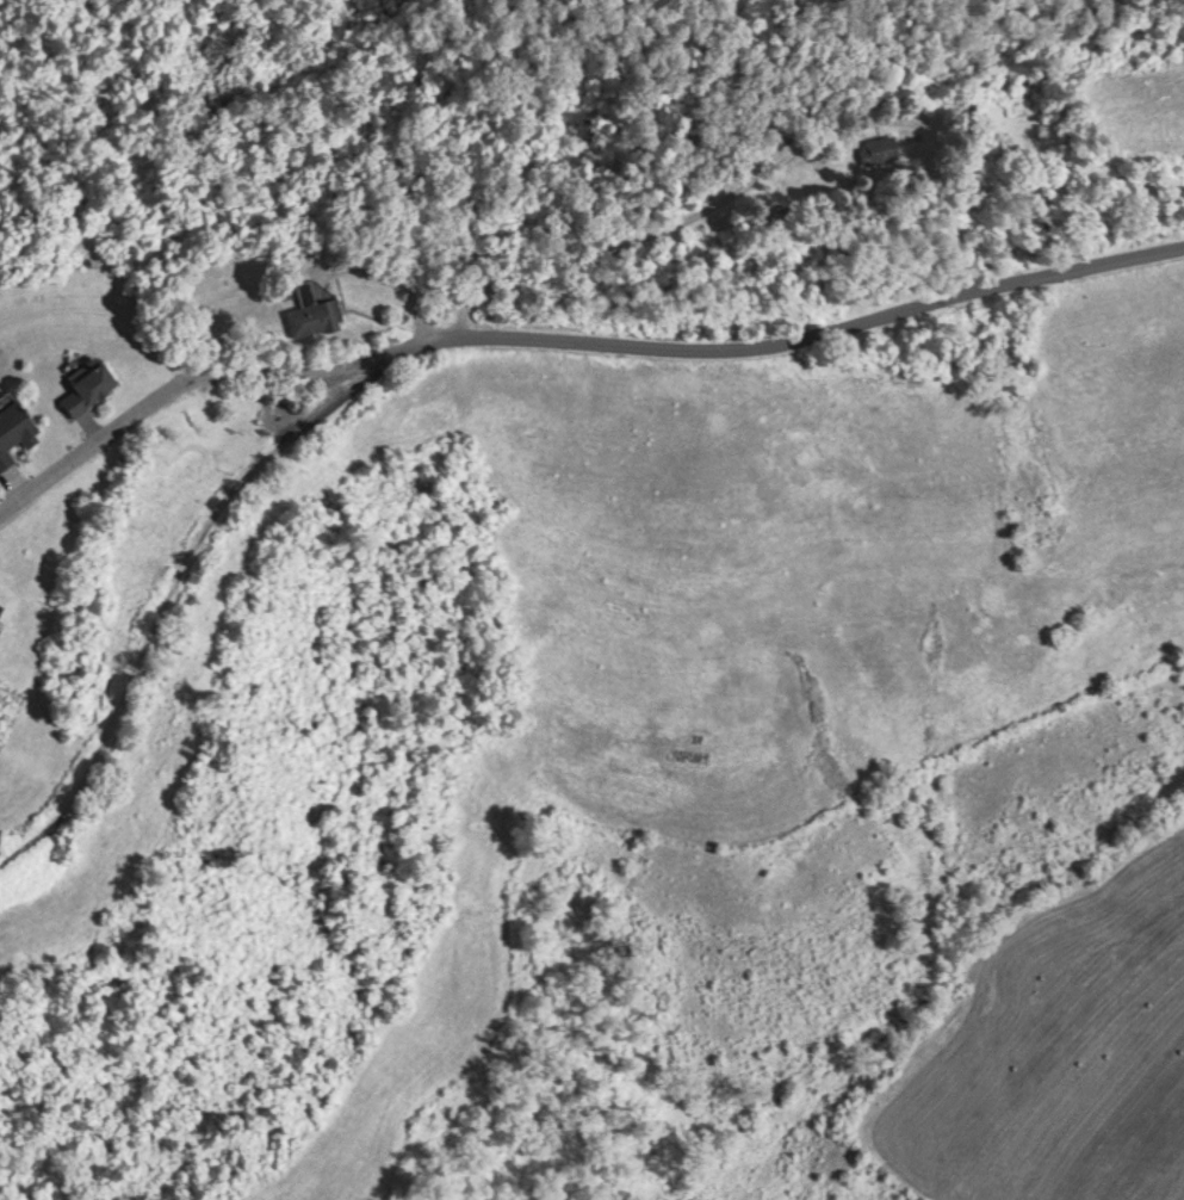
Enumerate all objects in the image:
building: (892, 148)
building: (317, 311)
road: (800, 339)
road: (185, 381)
building: (95, 389)
building: (18, 431)
road: (173, 586)

